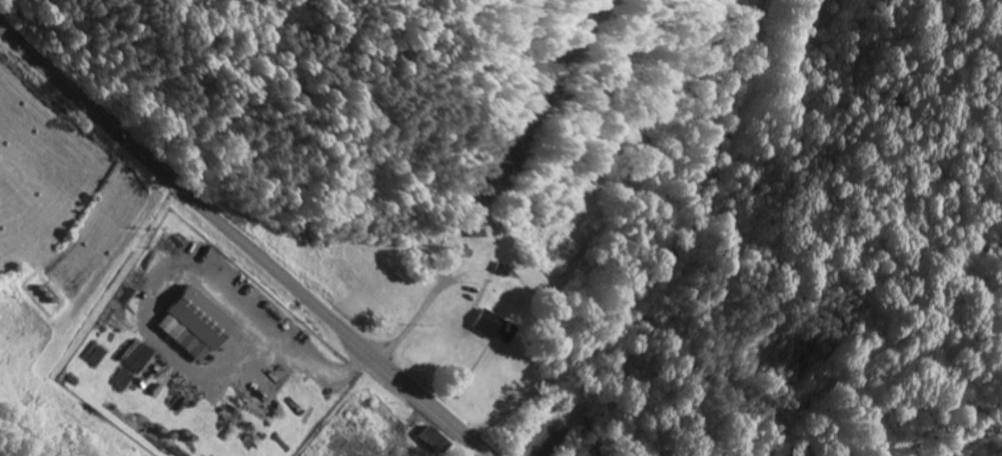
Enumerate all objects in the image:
road: (246, 237)
road: (678, 257)
building: (200, 324)
building: (498, 327)

